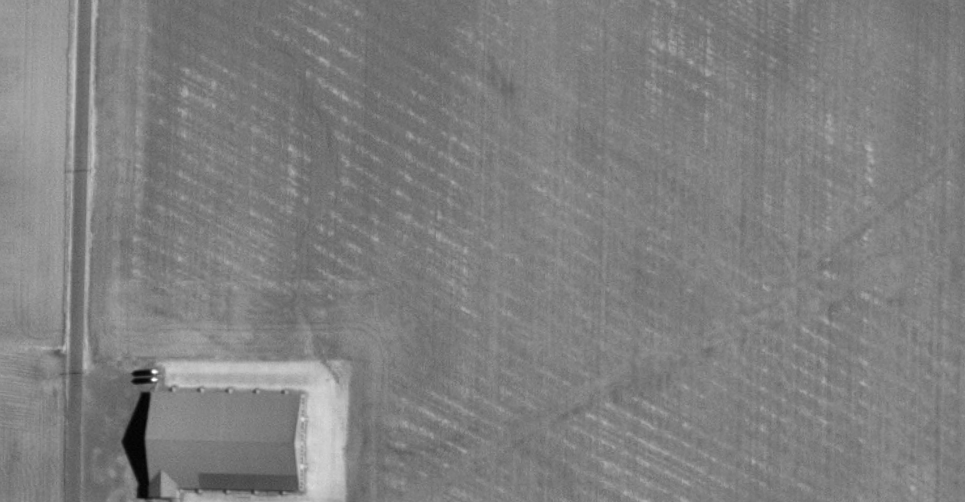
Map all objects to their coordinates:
road: (77, 251)

